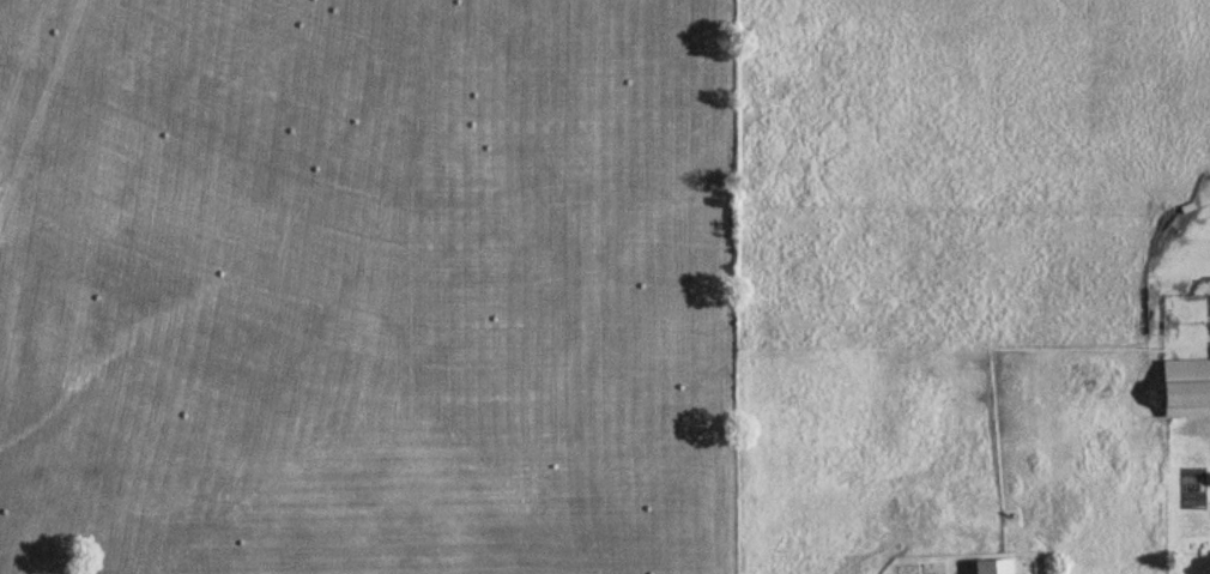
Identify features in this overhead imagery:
building: (1182, 388)
building: (991, 567)
building: (1021, 573)

